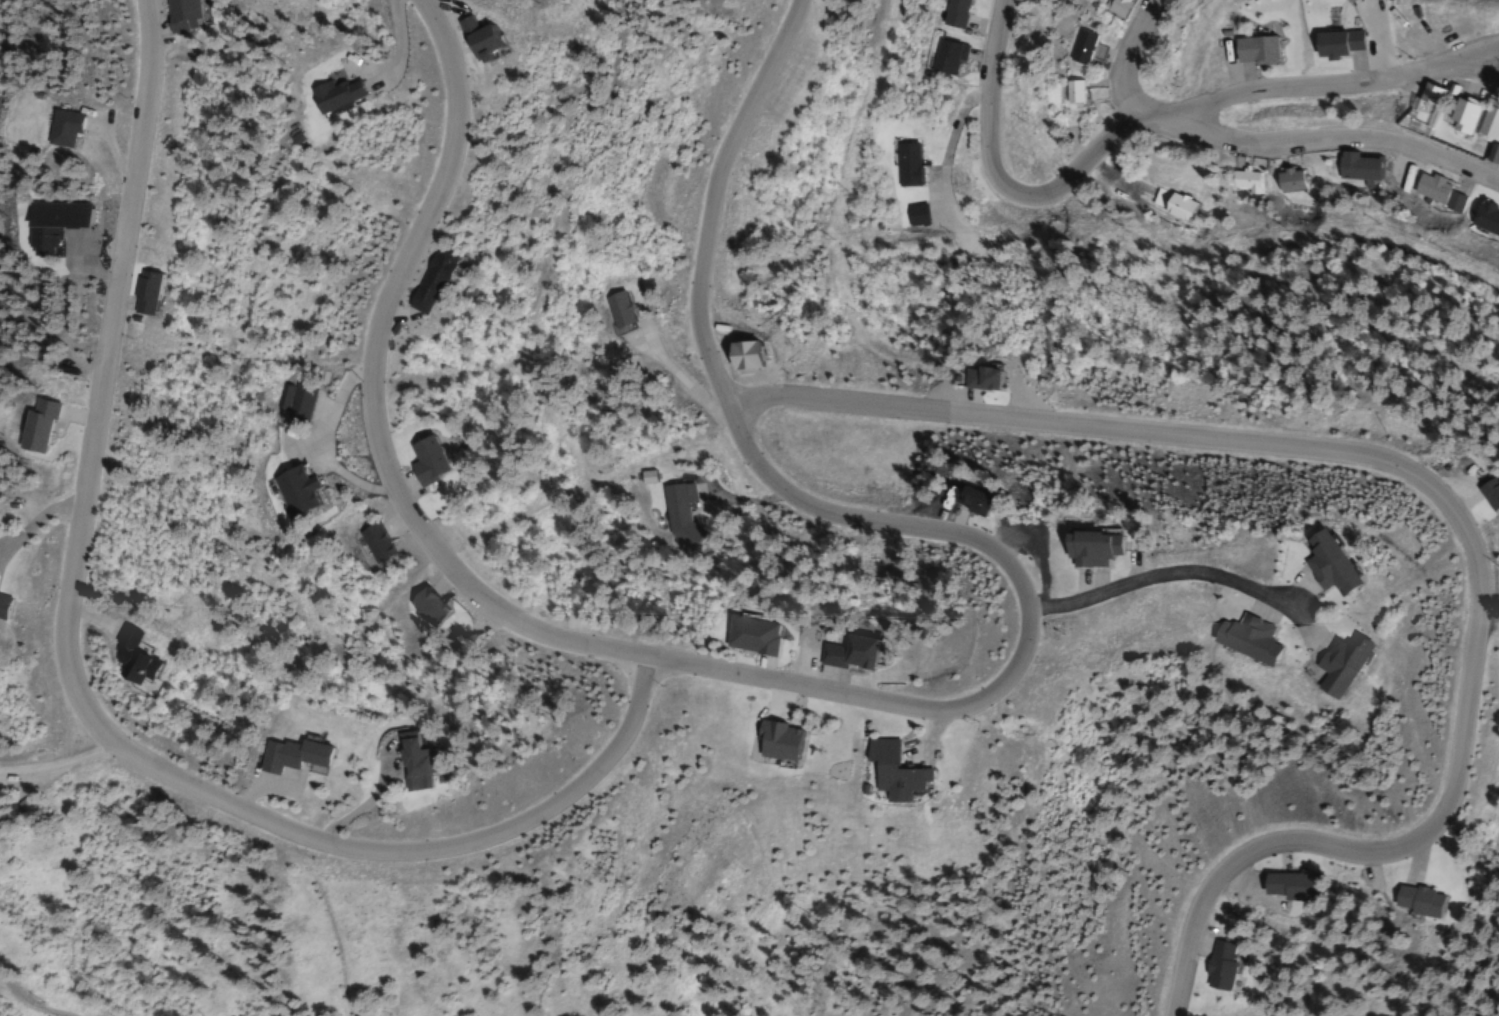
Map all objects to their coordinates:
building: (1346, 1)
building: (179, 12)
building: (952, 13)
road: (157, 25)
building: (1336, 44)
building: (1083, 50)
building: (1252, 50)
road: (1471, 52)
road: (1127, 54)
building: (945, 56)
road: (1335, 83)
building: (330, 93)
building: (1071, 93)
building: (1460, 115)
road: (1156, 118)
building: (1488, 124)
building: (74, 126)
road: (1341, 134)
road: (117, 147)
building: (1491, 156)
building: (903, 165)
building: (1357, 168)
road: (996, 179)
building: (1244, 181)
building: (1288, 181)
building: (1436, 191)
building: (1171, 204)
building: (1485, 219)
building: (428, 278)
building: (140, 291)
road: (122, 301)
building: (614, 309)
building: (978, 377)
road: (83, 414)
building: (49, 424)
building: (423, 460)
building: (293, 490)
road: (1433, 498)
building: (966, 500)
building: (676, 504)
road: (38, 522)
road: (393, 523)
building: (372, 541)
building: (1086, 548)
building: (1318, 563)
road: (1160, 573)
road: (438, 578)
building: (11, 602)
building: (426, 604)
road: (90, 617)
building: (748, 636)
building: (1240, 639)
building: (845, 654)
building: (126, 655)
building: (1327, 664)
road: (858, 697)
road: (76, 700)
building: (772, 741)
building: (288, 753)
building: (405, 753)
road: (54, 761)
building: (886, 771)
road: (249, 790)
road: (366, 798)
building: (1286, 885)
building: (1406, 900)
building: (1217, 965)

